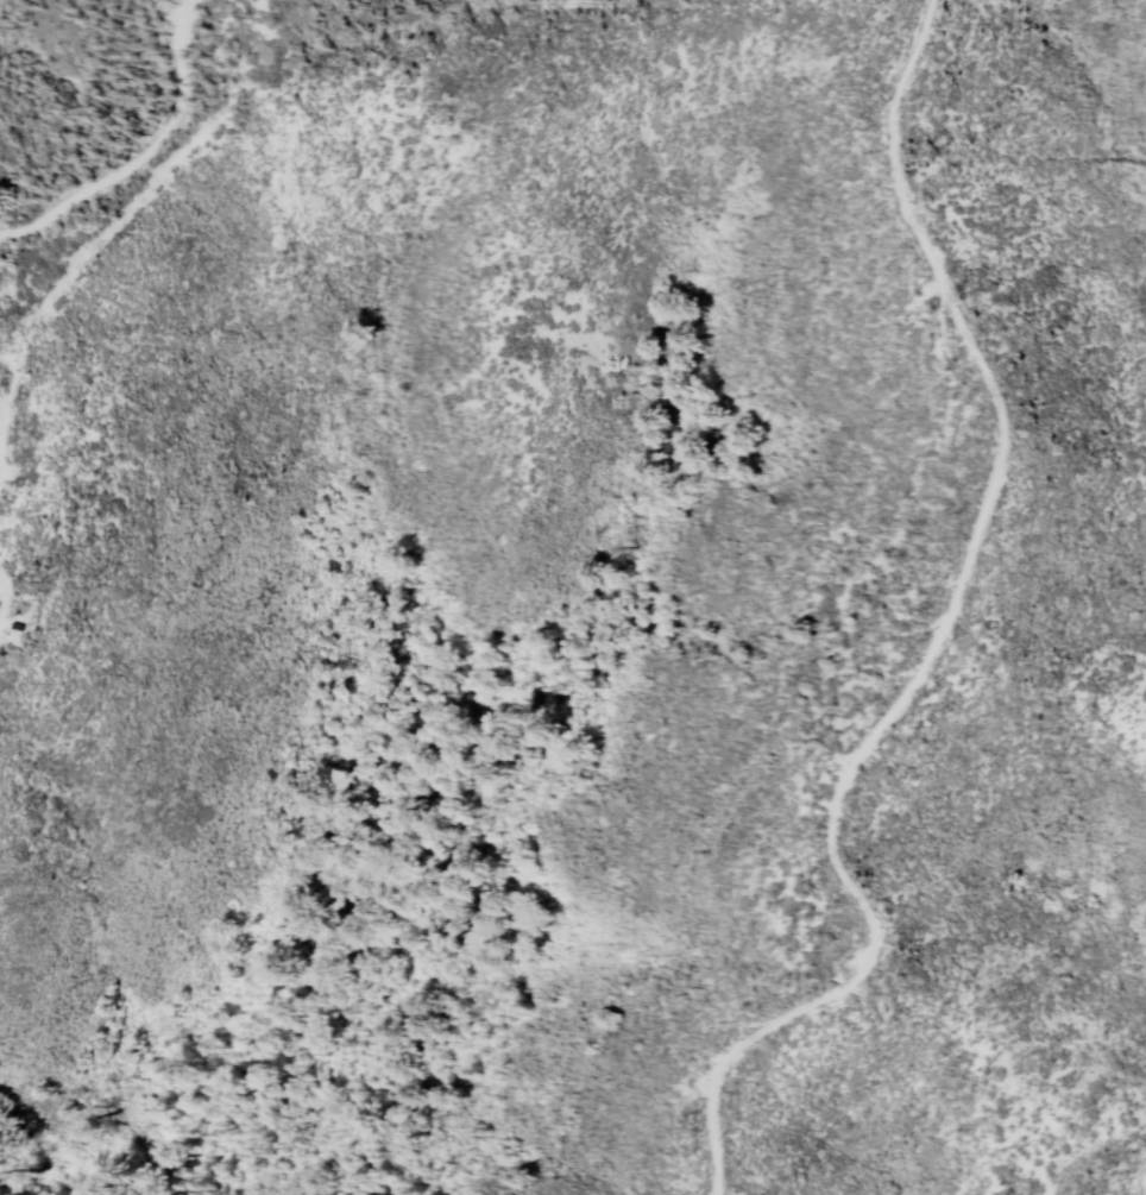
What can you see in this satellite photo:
road: (666, 1)
road: (917, 26)
road: (235, 90)
road: (143, 153)
road: (977, 540)
road: (6, 603)
road: (729, 1059)

